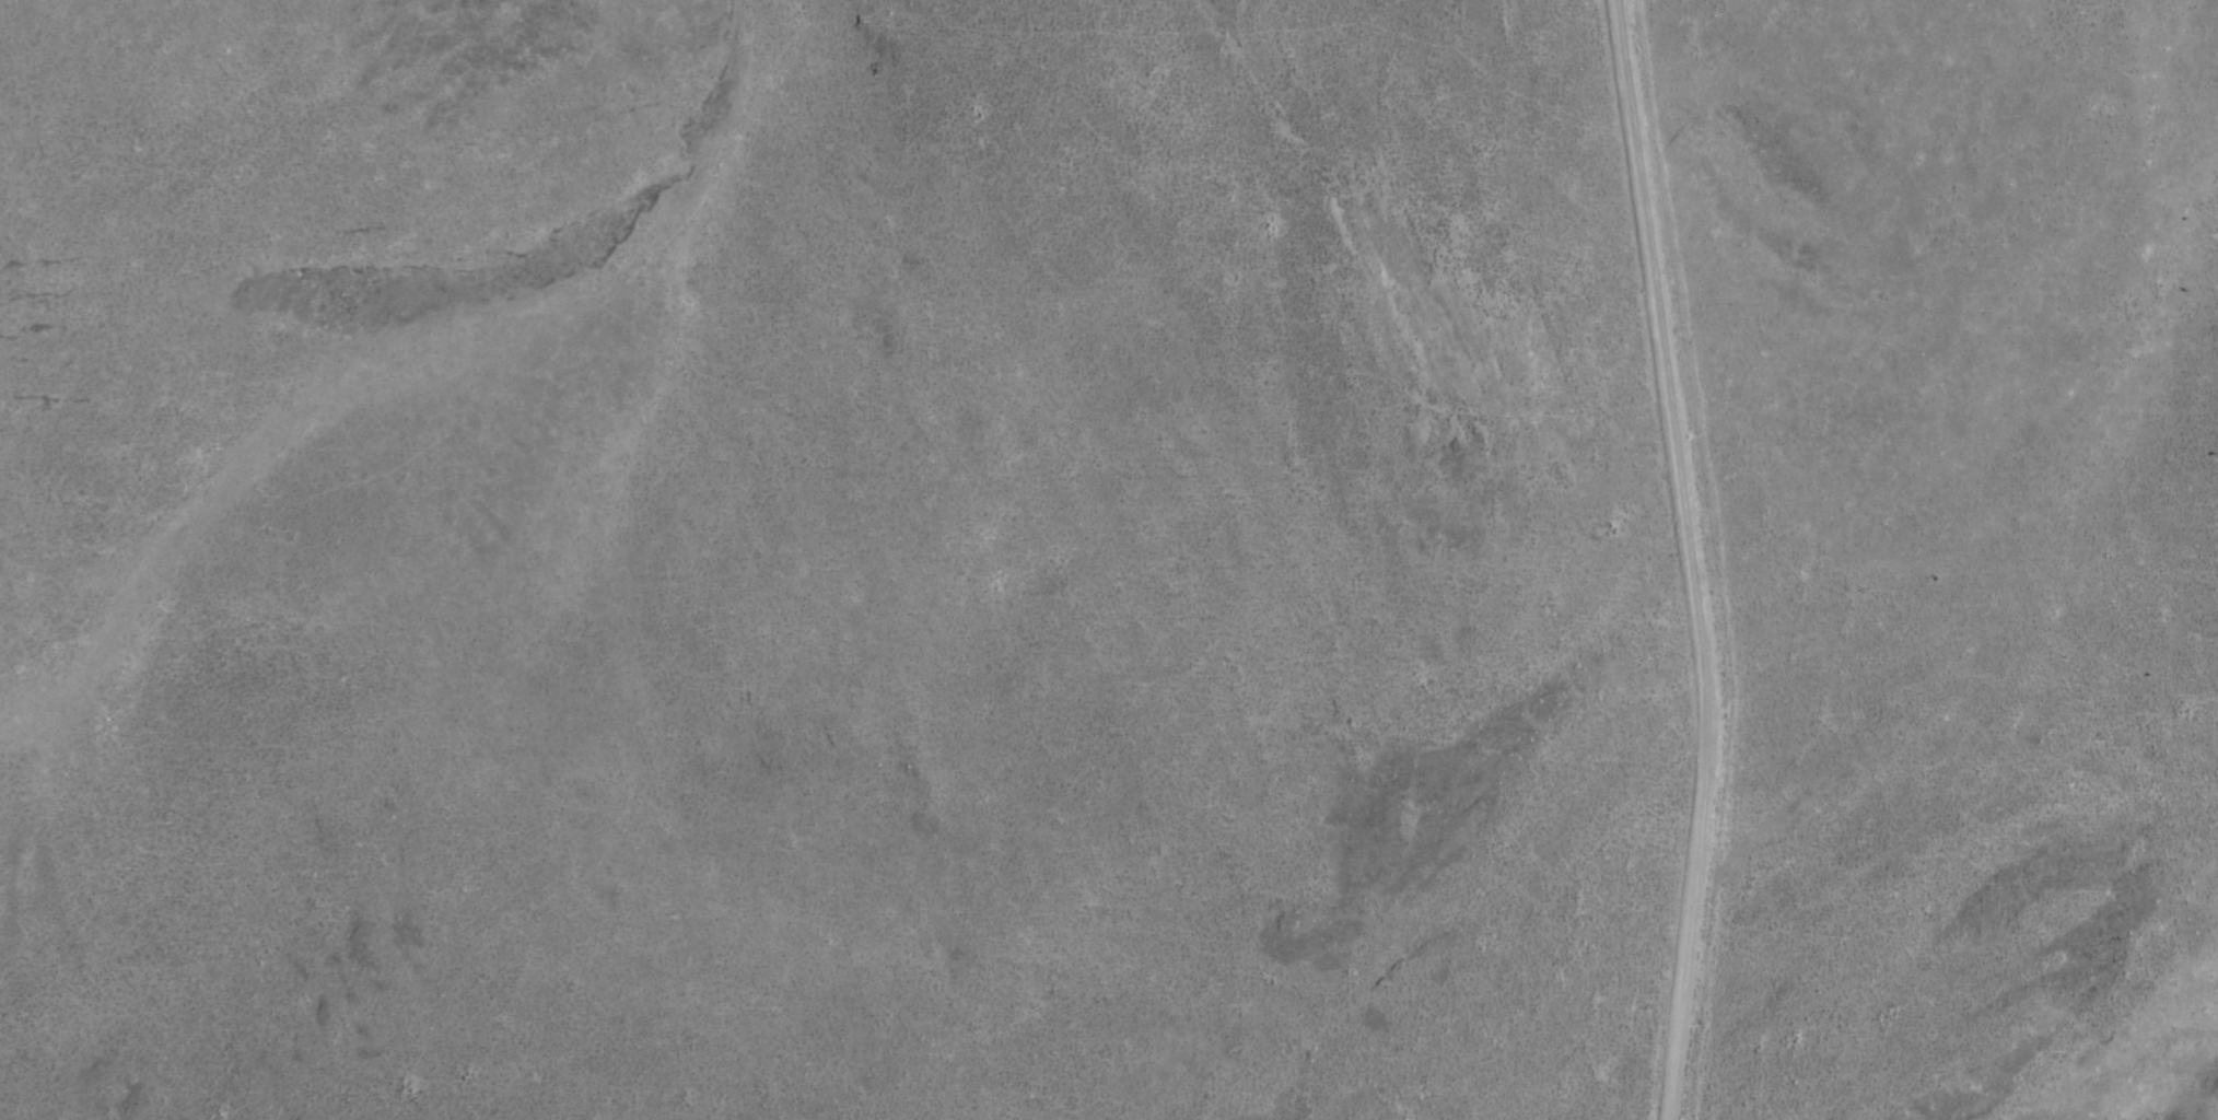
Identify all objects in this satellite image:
road: (1686, 559)

